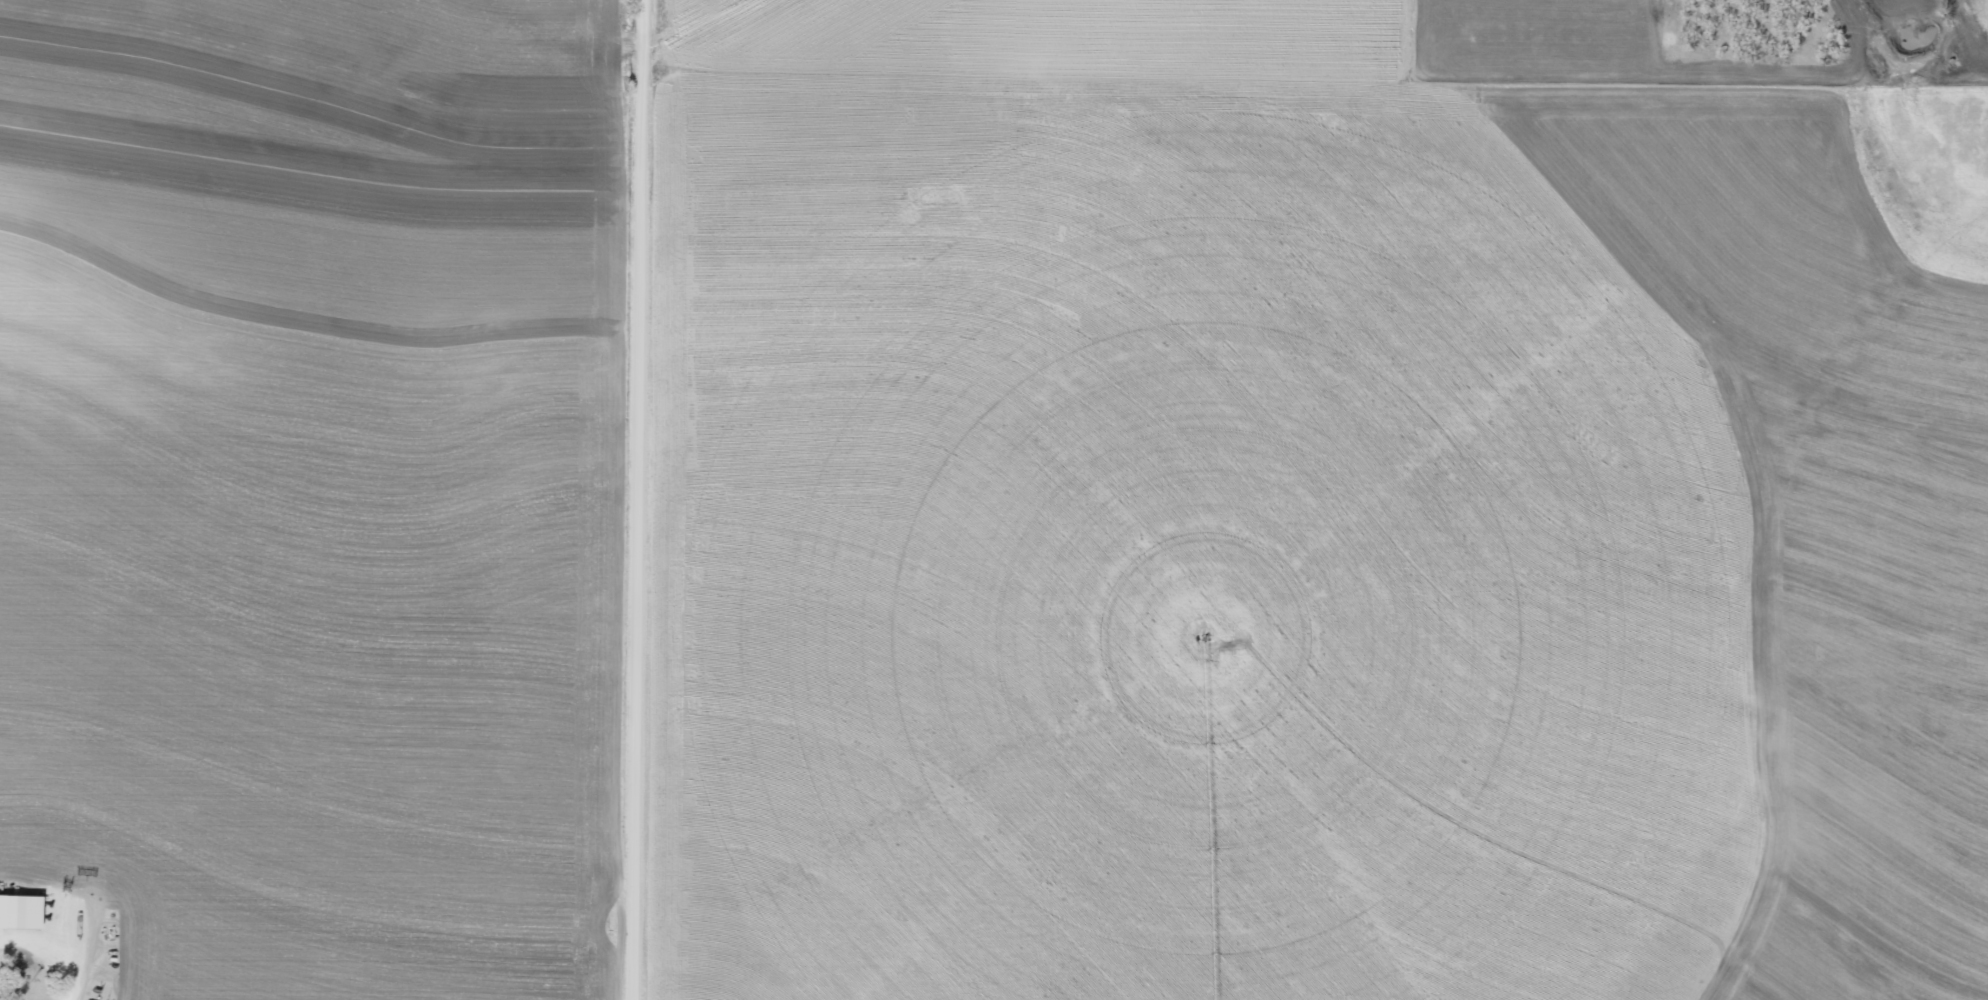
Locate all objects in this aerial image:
road: (654, 499)
building: (18, 912)

